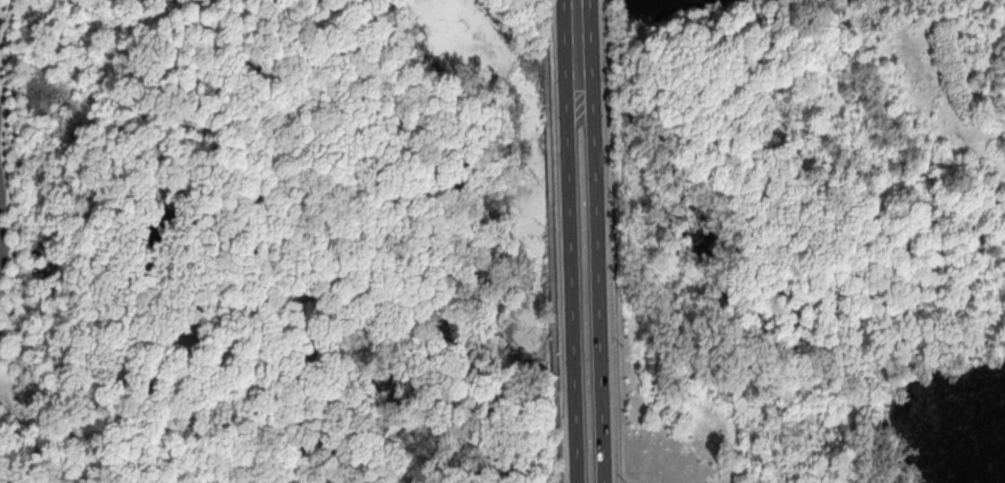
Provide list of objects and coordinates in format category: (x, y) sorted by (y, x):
road: (545, 20)
road: (0, 28)
road: (581, 58)
road: (1, 136)
road: (551, 215)
park: (807, 240)
road: (613, 241)
road: (571, 298)
road: (595, 299)
road: (557, 437)

